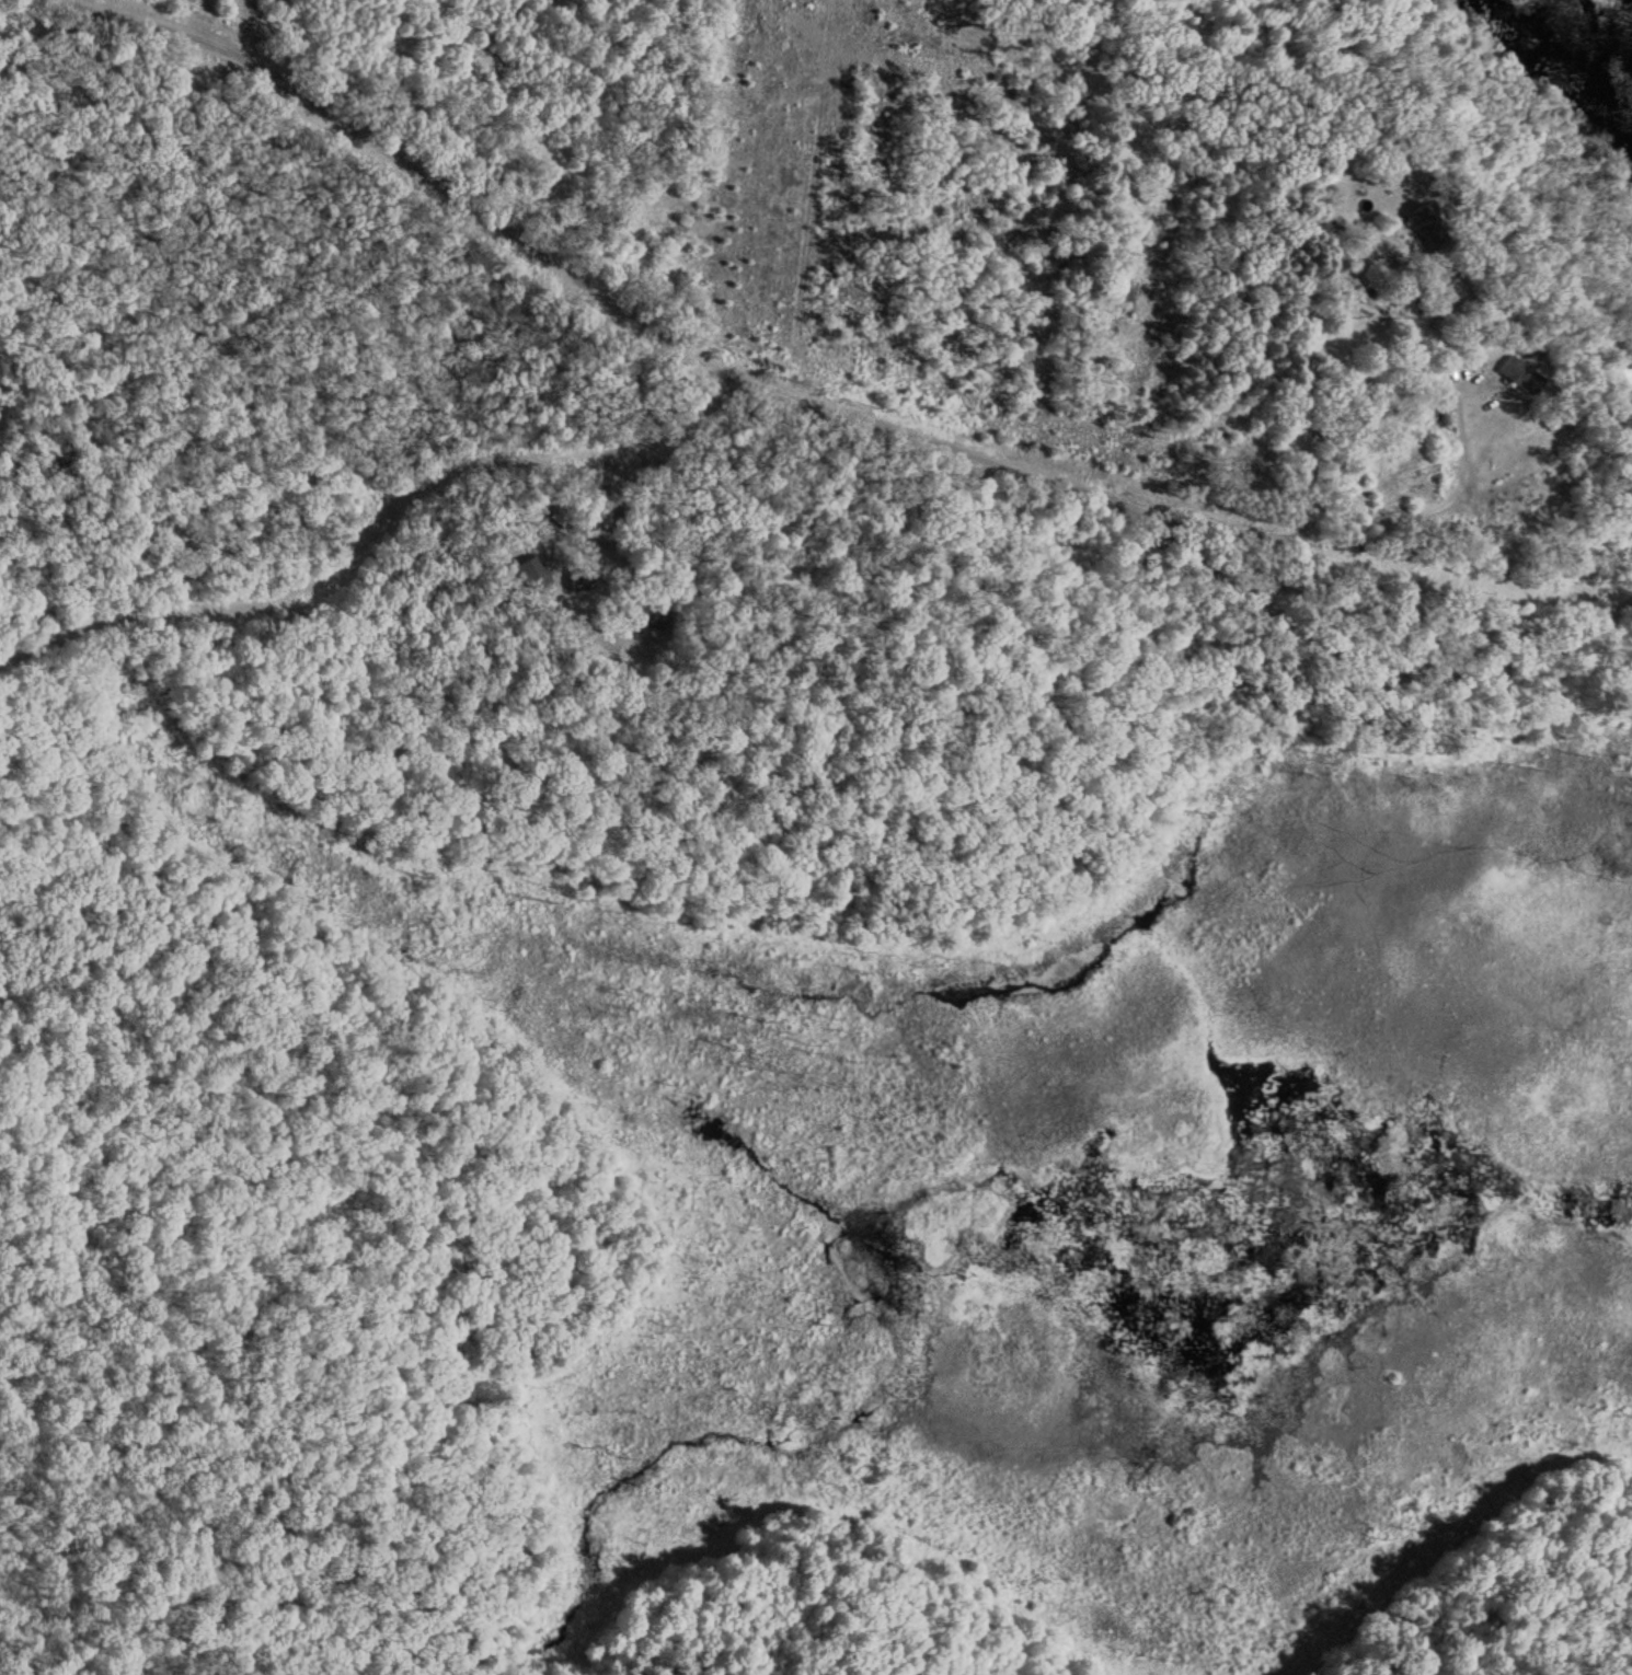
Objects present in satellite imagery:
building: (1425, 228)
building: (1519, 374)
road: (865, 403)
road: (1464, 483)
road: (359, 501)
building: (1524, 524)
building: (530, 575)
building: (574, 579)
building: (642, 615)

